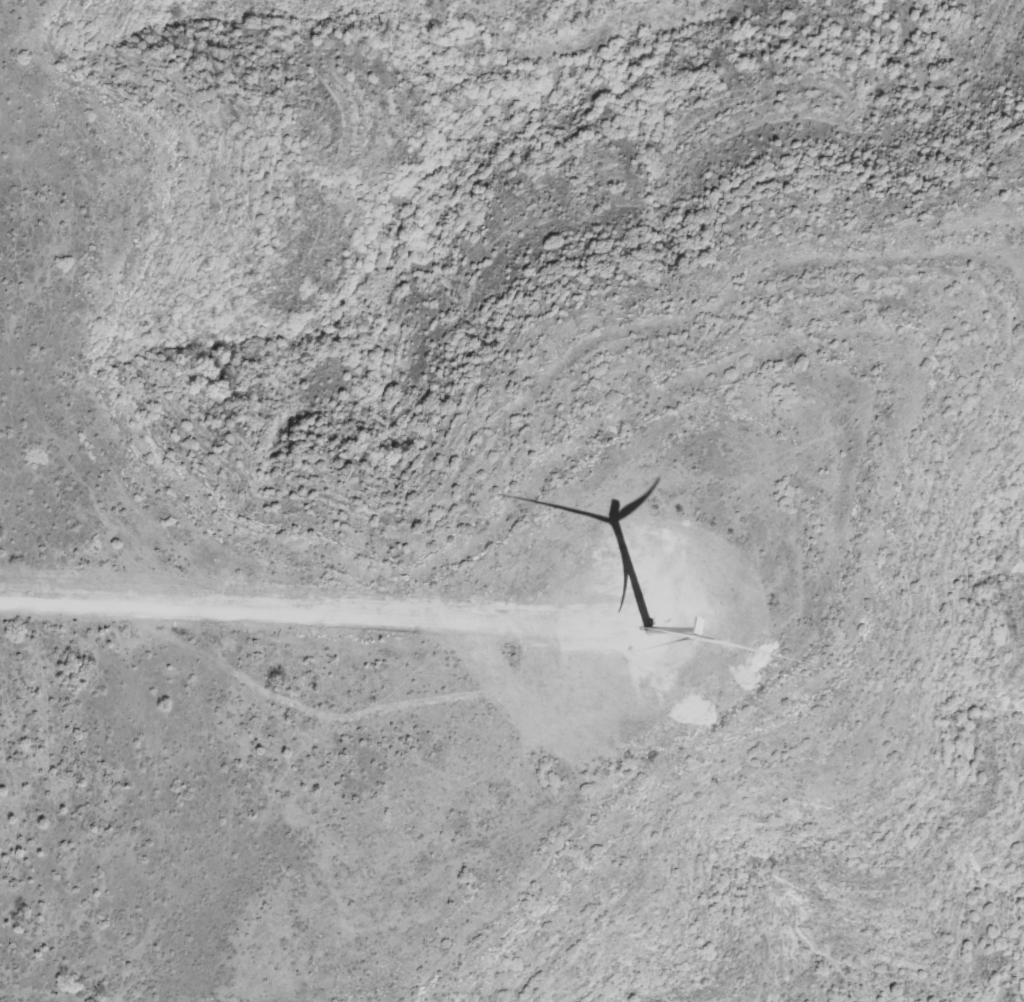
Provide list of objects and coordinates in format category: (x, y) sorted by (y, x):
wind turbine: (646, 625)

